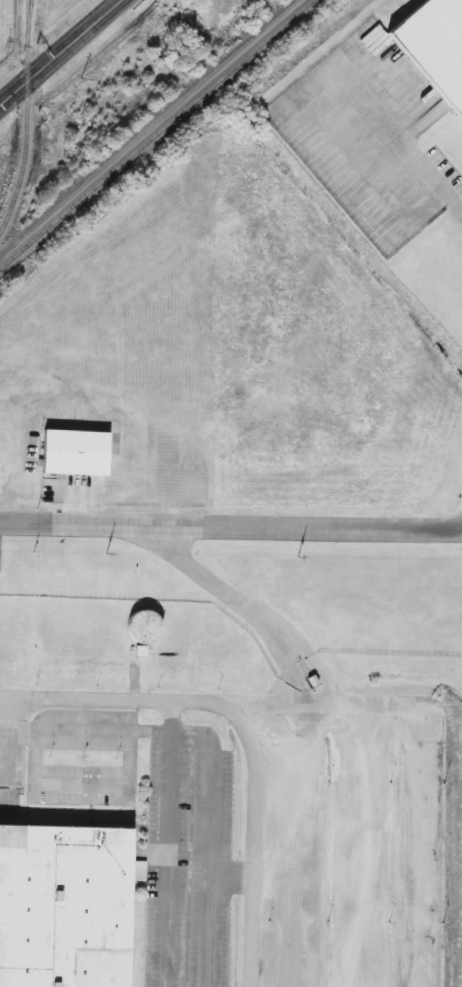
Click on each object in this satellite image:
railway: (29, 15)
building: (435, 47)
road: (62, 54)
power tower: (79, 82)
railway: (28, 120)
railway: (149, 129)
railway: (157, 135)
road: (404, 156)
building: (73, 453)
road: (231, 523)
road: (239, 603)
building: (141, 631)
road: (151, 701)
road: (410, 804)
road: (212, 816)
road: (304, 846)
parking lot: (205, 895)
building: (64, 908)

